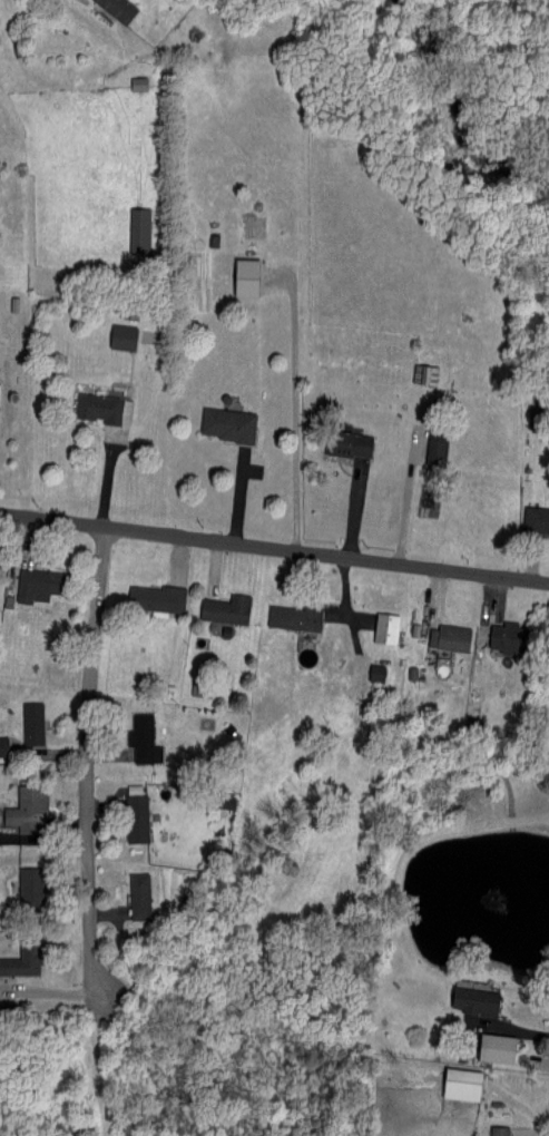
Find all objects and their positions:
building: (115, 8)
building: (136, 229)
building: (242, 275)
building: (127, 335)
building: (422, 373)
road: (174, 393)
building: (95, 407)
road: (300, 408)
building: (124, 410)
building: (225, 423)
building: (344, 442)
building: (432, 448)
road: (416, 482)
building: (533, 519)
road: (274, 547)
building: (36, 584)
building: (155, 597)
building: (223, 608)
building: (292, 616)
building: (382, 627)
building: (499, 636)
building: (445, 637)
building: (373, 672)
building: (30, 722)
building: (140, 738)
building: (1, 745)
building: (24, 812)
building: (133, 817)
road: (88, 832)
building: (26, 887)
building: (136, 895)
building: (20, 960)
building: (471, 999)
building: (491, 1047)
building: (457, 1084)
building: (496, 1130)

